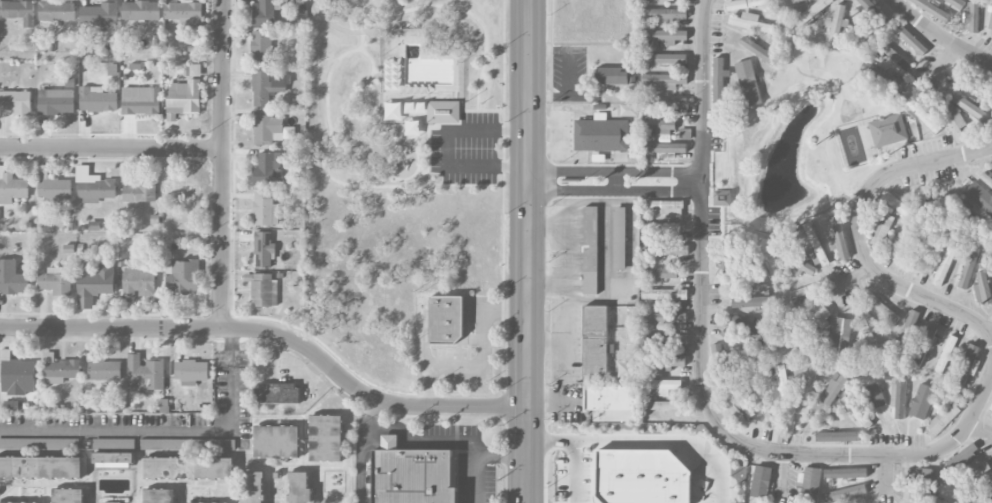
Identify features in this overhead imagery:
building: (749, 3)
building: (957, 3)
building: (931, 9)
building: (141, 10)
building: (18, 11)
building: (56, 12)
building: (812, 12)
building: (185, 13)
building: (264, 13)
building: (664, 15)
building: (100, 16)
building: (974, 16)
building: (866, 20)
building: (747, 22)
building: (990, 23)
building: (837, 25)
building: (664, 36)
road: (938, 37)
building: (911, 40)
building: (261, 47)
building: (759, 51)
building: (665, 59)
building: (896, 65)
building: (612, 76)
building: (719, 80)
building: (665, 81)
building: (748, 83)
building: (977, 86)
building: (267, 87)
building: (183, 98)
building: (97, 99)
building: (56, 101)
building: (141, 101)
building: (16, 102)
building: (664, 102)
building: (391, 109)
building: (972, 109)
building: (443, 111)
building: (923, 115)
building: (952, 118)
building: (659, 126)
building: (269, 129)
building: (888, 130)
building: (601, 135)
road: (503, 143)
road: (393, 147)
road: (112, 148)
building: (664, 148)
road: (223, 164)
building: (268, 169)
park: (399, 170)
road: (616, 172)
road: (617, 181)
building: (52, 186)
building: (11, 187)
building: (94, 187)
road: (615, 190)
building: (139, 193)
building: (980, 197)
building: (722, 198)
building: (898, 205)
building: (666, 207)
building: (922, 208)
building: (265, 209)
building: (942, 219)
building: (969, 220)
building: (94, 225)
building: (662, 227)
building: (883, 229)
road: (858, 236)
building: (839, 237)
building: (620, 239)
building: (902, 243)
building: (813, 244)
building: (263, 249)
building: (591, 249)
building: (664, 250)
road: (528, 251)
building: (924, 254)
building: (728, 262)
building: (796, 262)
building: (943, 265)
building: (968, 268)
building: (659, 273)
building: (183, 277)
building: (12, 278)
building: (749, 279)
building: (56, 281)
building: (137, 283)
building: (95, 285)
building: (263, 289)
building: (982, 289)
building: (803, 291)
building: (664, 294)
building: (751, 301)
building: (663, 317)
building: (815, 318)
building: (446, 319)
building: (865, 324)
building: (838, 328)
building: (742, 330)
building: (907, 332)
road: (273, 334)
road: (990, 335)
building: (665, 339)
building: (596, 342)
building: (924, 345)
building: (946, 354)
building: (667, 362)
building: (719, 362)
building: (967, 366)
building: (59, 369)
building: (105, 370)
building: (144, 372)
building: (191, 373)
building: (17, 376)
road: (701, 376)
building: (807, 386)
building: (662, 387)
building: (781, 387)
building: (279, 392)
building: (829, 394)
building: (873, 396)
building: (763, 398)
building: (898, 398)
building: (923, 399)
building: (607, 402)
building: (741, 402)
building: (11, 405)
building: (667, 407)
building: (855, 412)
building: (991, 414)
building: (942, 421)
road: (158, 426)
building: (837, 437)
building: (326, 438)
road: (645, 440)
building: (277, 441)
building: (39, 443)
building: (187, 447)
road: (366, 450)
building: (962, 455)
road: (477, 456)
building: (114, 460)
building: (41, 467)
building: (189, 468)
road: (578, 471)
building: (845, 473)
building: (413, 474)
building: (971, 476)
building: (927, 477)
building: (811, 480)
building: (761, 482)
building: (253, 487)
building: (299, 487)
building: (843, 493)
building: (68, 495)
building: (159, 496)
building: (982, 497)
building: (923, 498)
building: (21, 502)
building: (114, 502)
building: (209, 502)

